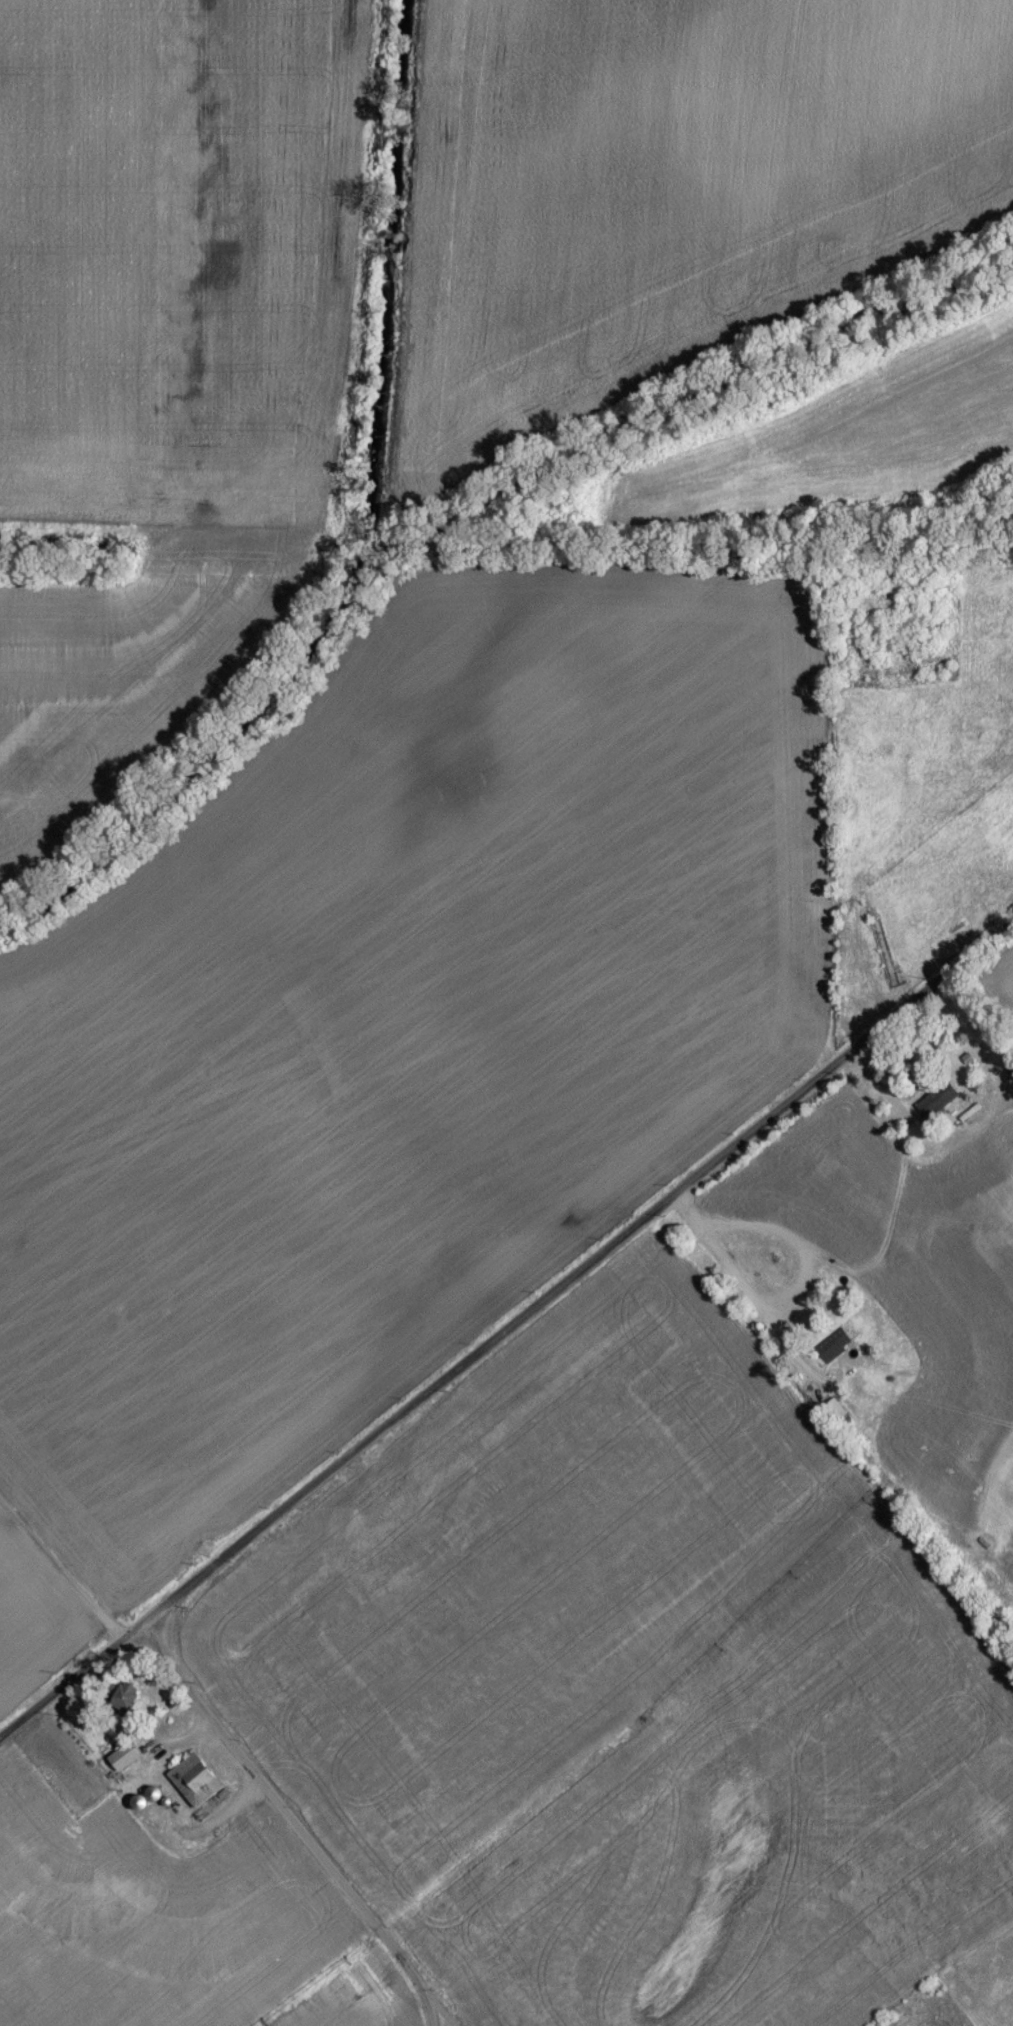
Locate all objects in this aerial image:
building: (939, 1107)
road: (797, 1240)
road: (752, 1293)
road: (504, 1339)
building: (834, 1353)
building: (836, 1418)
building: (126, 1702)
building: (126, 1764)
building: (197, 1788)
road: (289, 1834)
road: (438, 2020)

